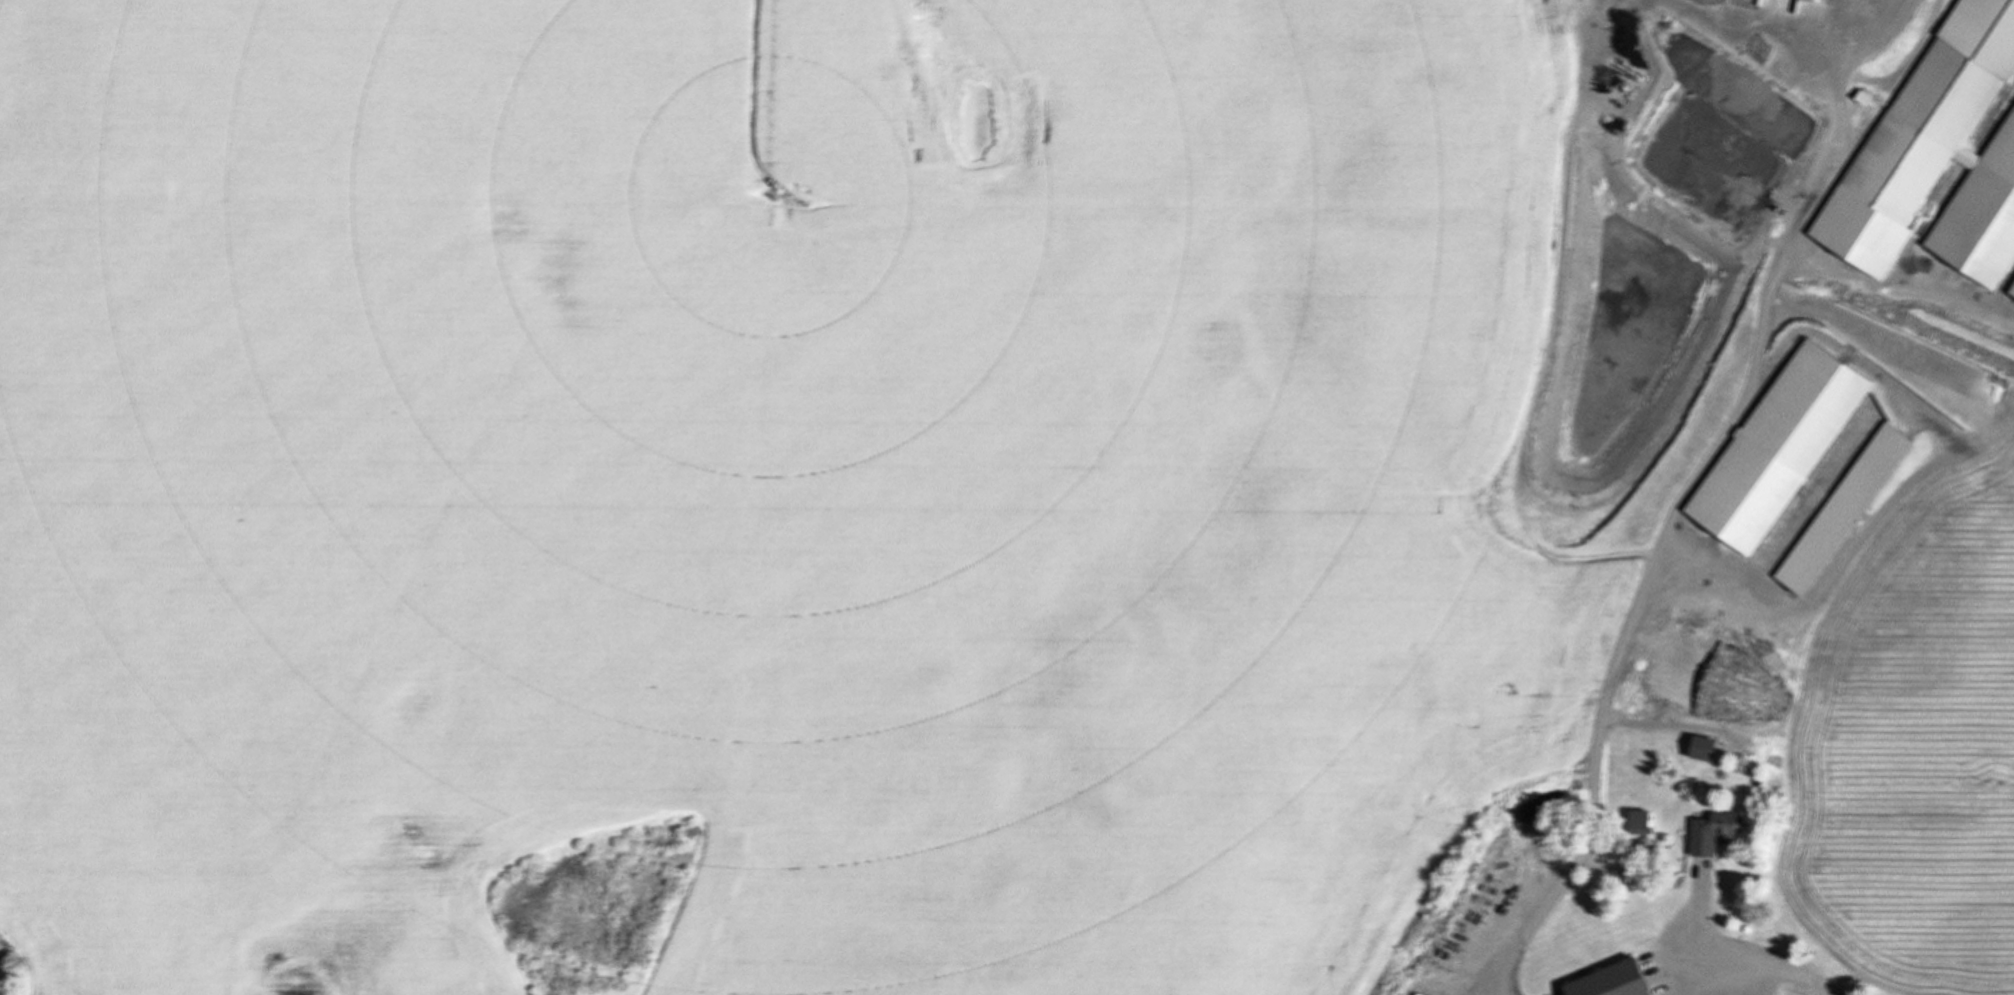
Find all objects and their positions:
building: (2005, 22)
building: (1940, 163)
road: (1657, 584)
building: (1637, 822)
building: (1711, 831)
building: (1653, 956)
road: (1761, 959)

